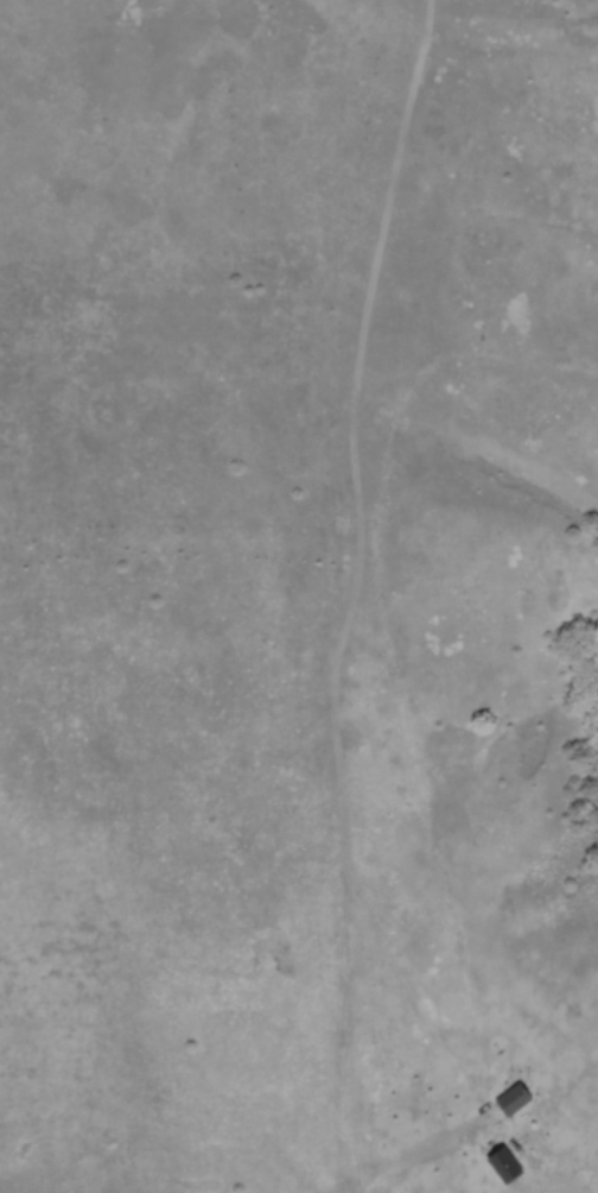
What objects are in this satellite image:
building: (516, 1102)

